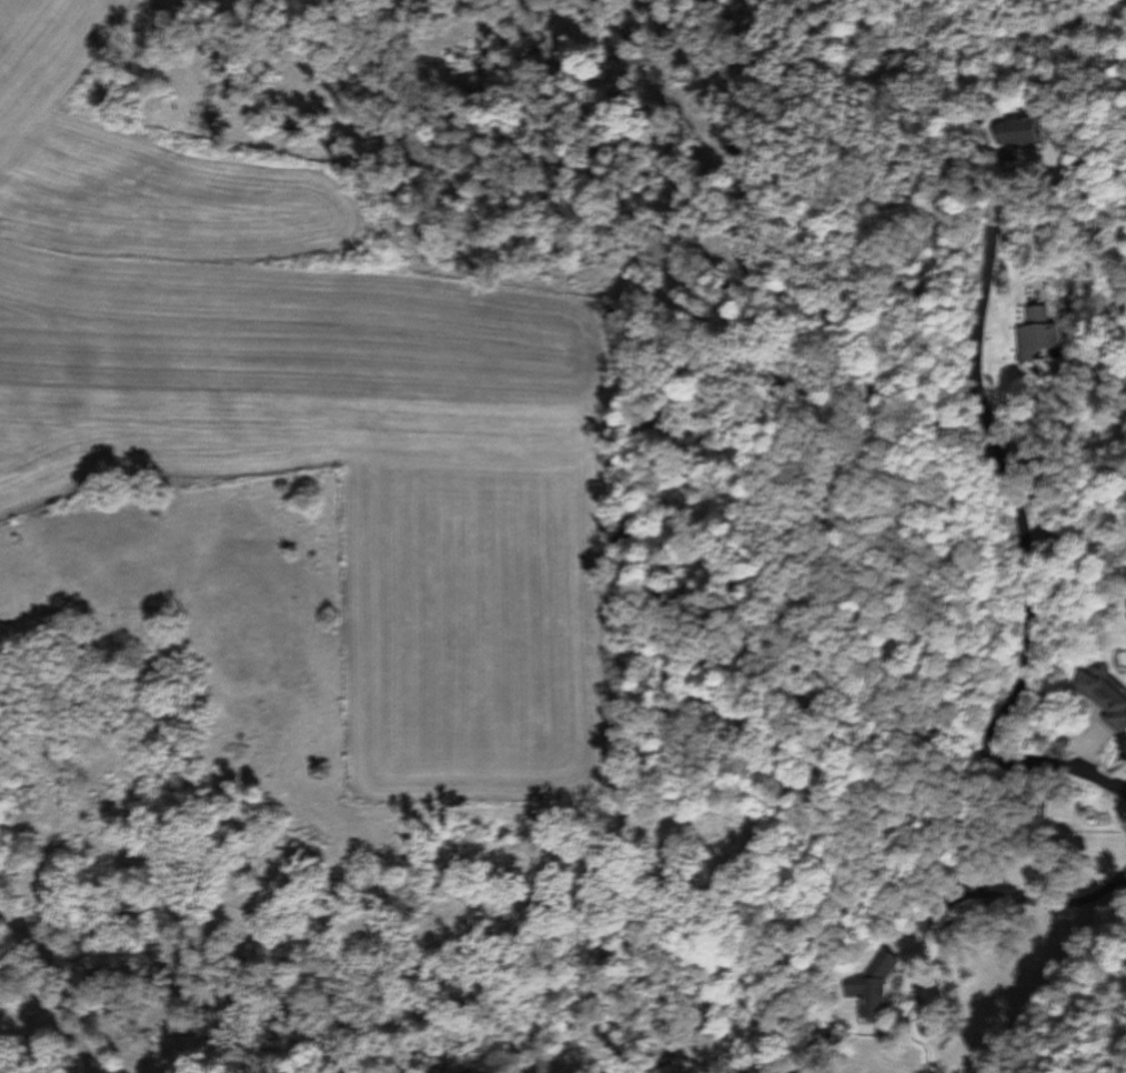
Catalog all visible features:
building: (1023, 133)
road: (1022, 263)
building: (1046, 335)
road: (1024, 523)
building: (1106, 695)
road: (1009, 900)
building: (877, 989)

